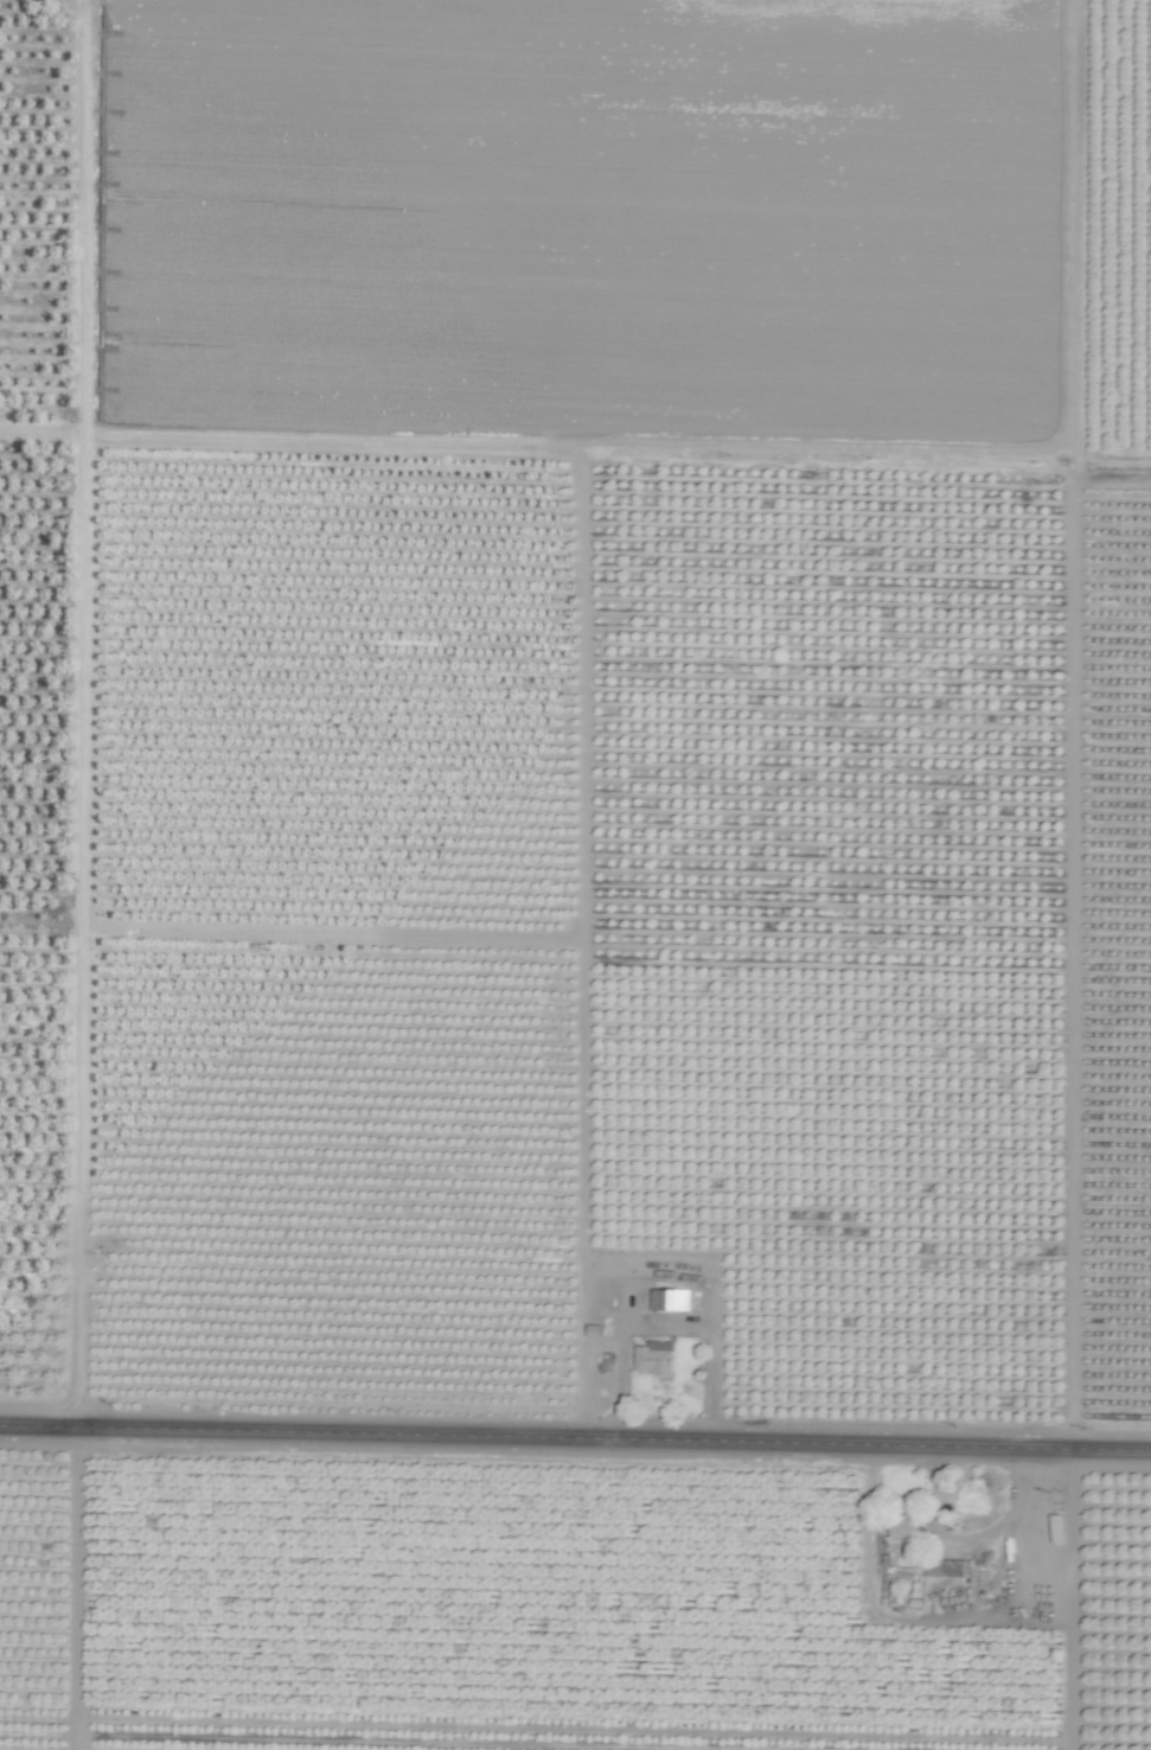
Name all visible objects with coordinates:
crop: (575, 875)
road: (669, 1324)
building: (654, 1356)
road: (575, 1442)
building: (906, 1526)
building: (947, 1567)
road: (973, 1622)

